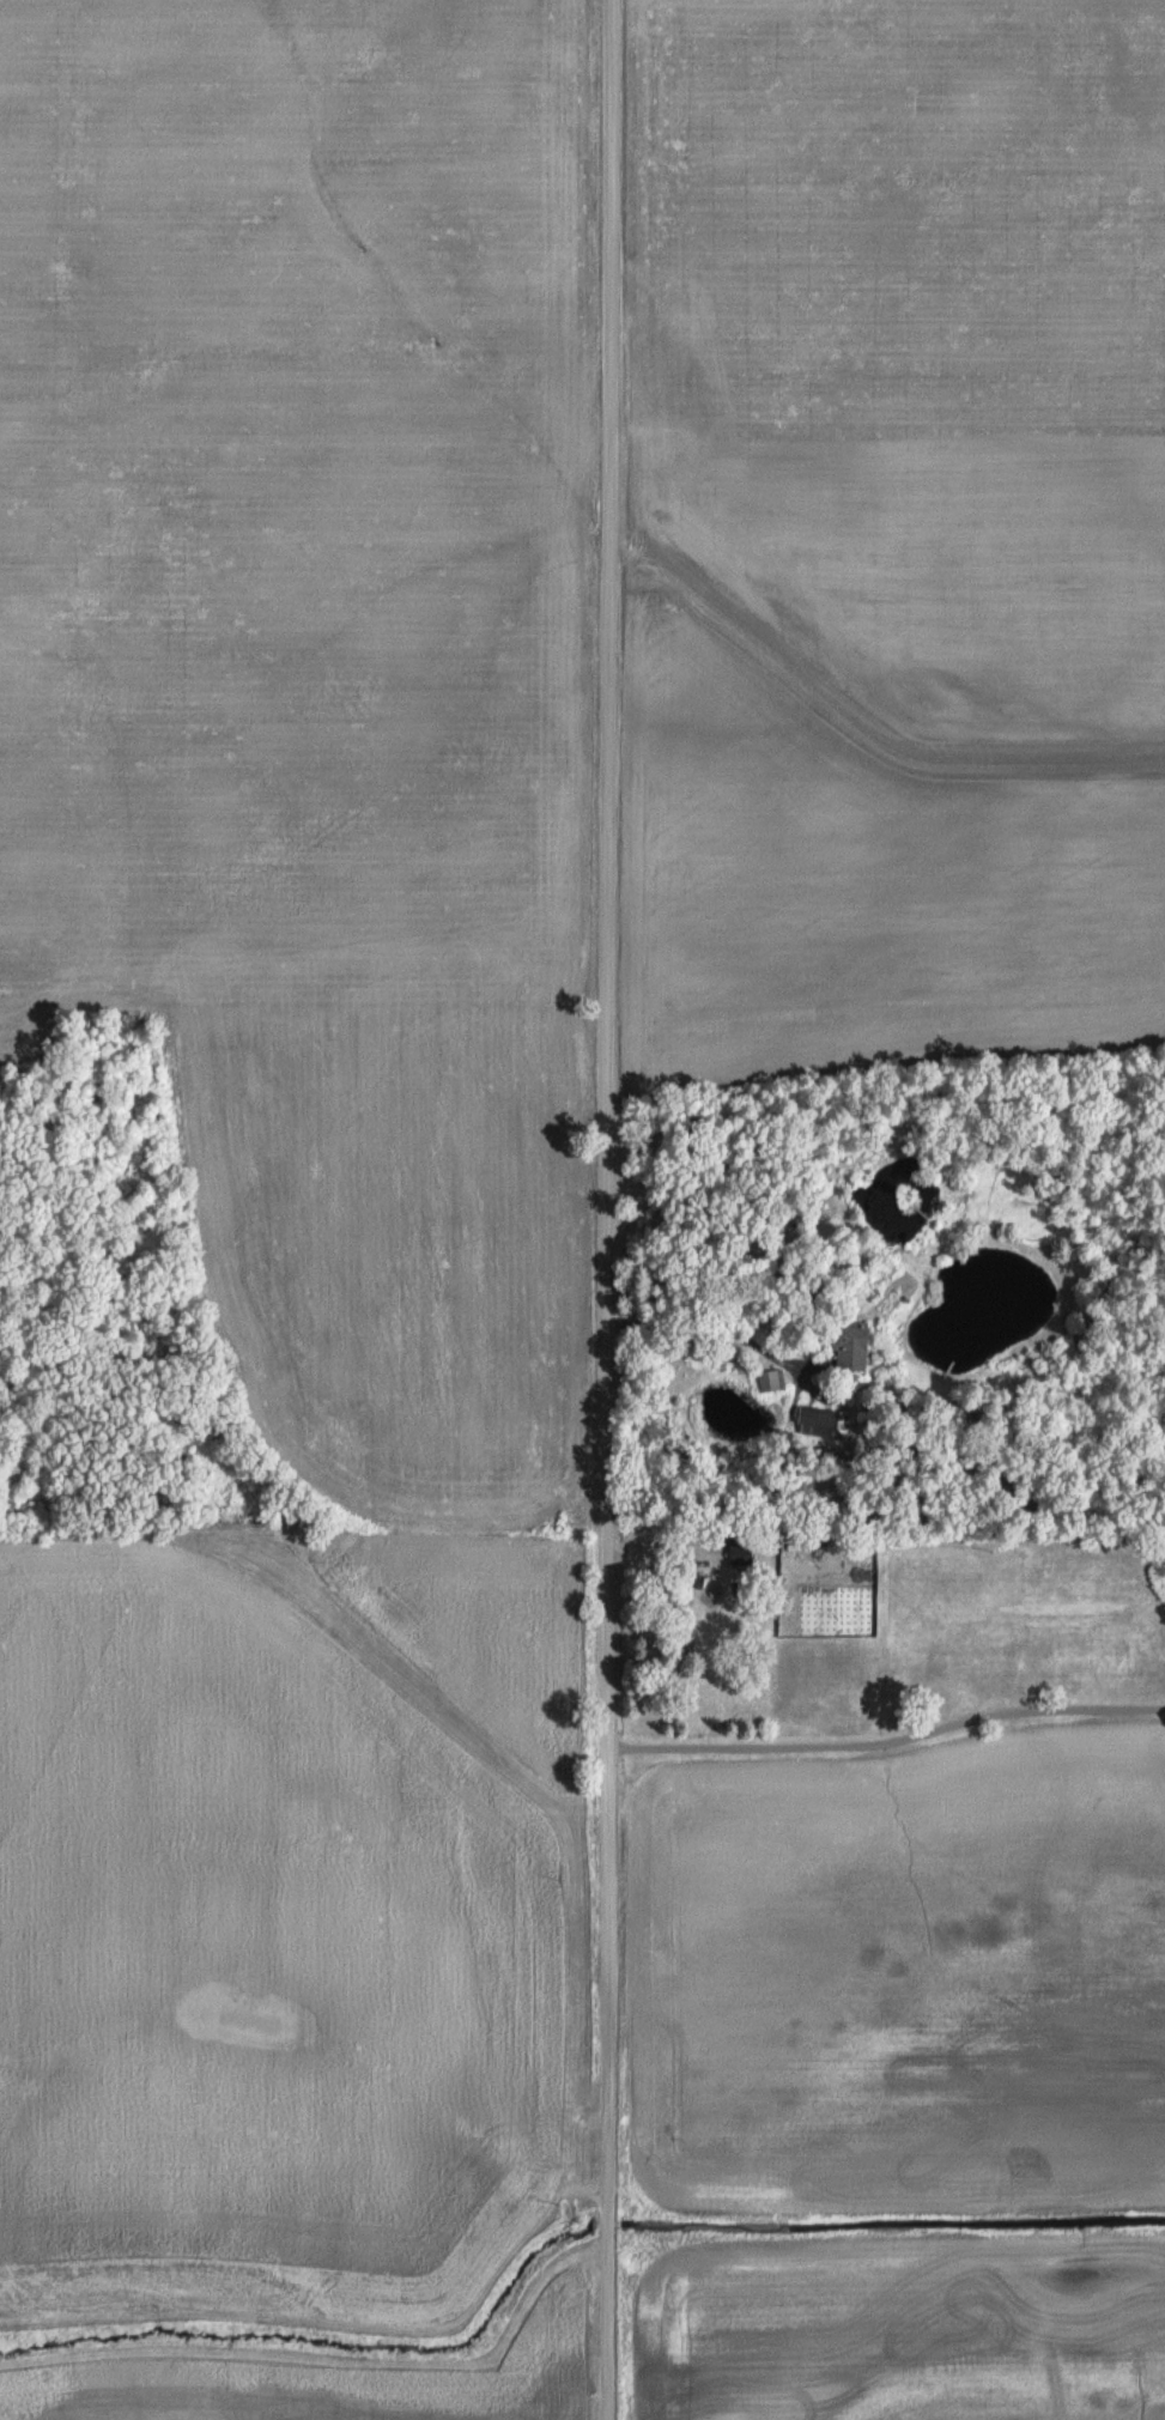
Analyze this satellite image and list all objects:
crop: (307, 675)
road: (606, 1209)
building: (849, 1346)
building: (769, 1379)
building: (821, 1421)
road: (887, 1743)

